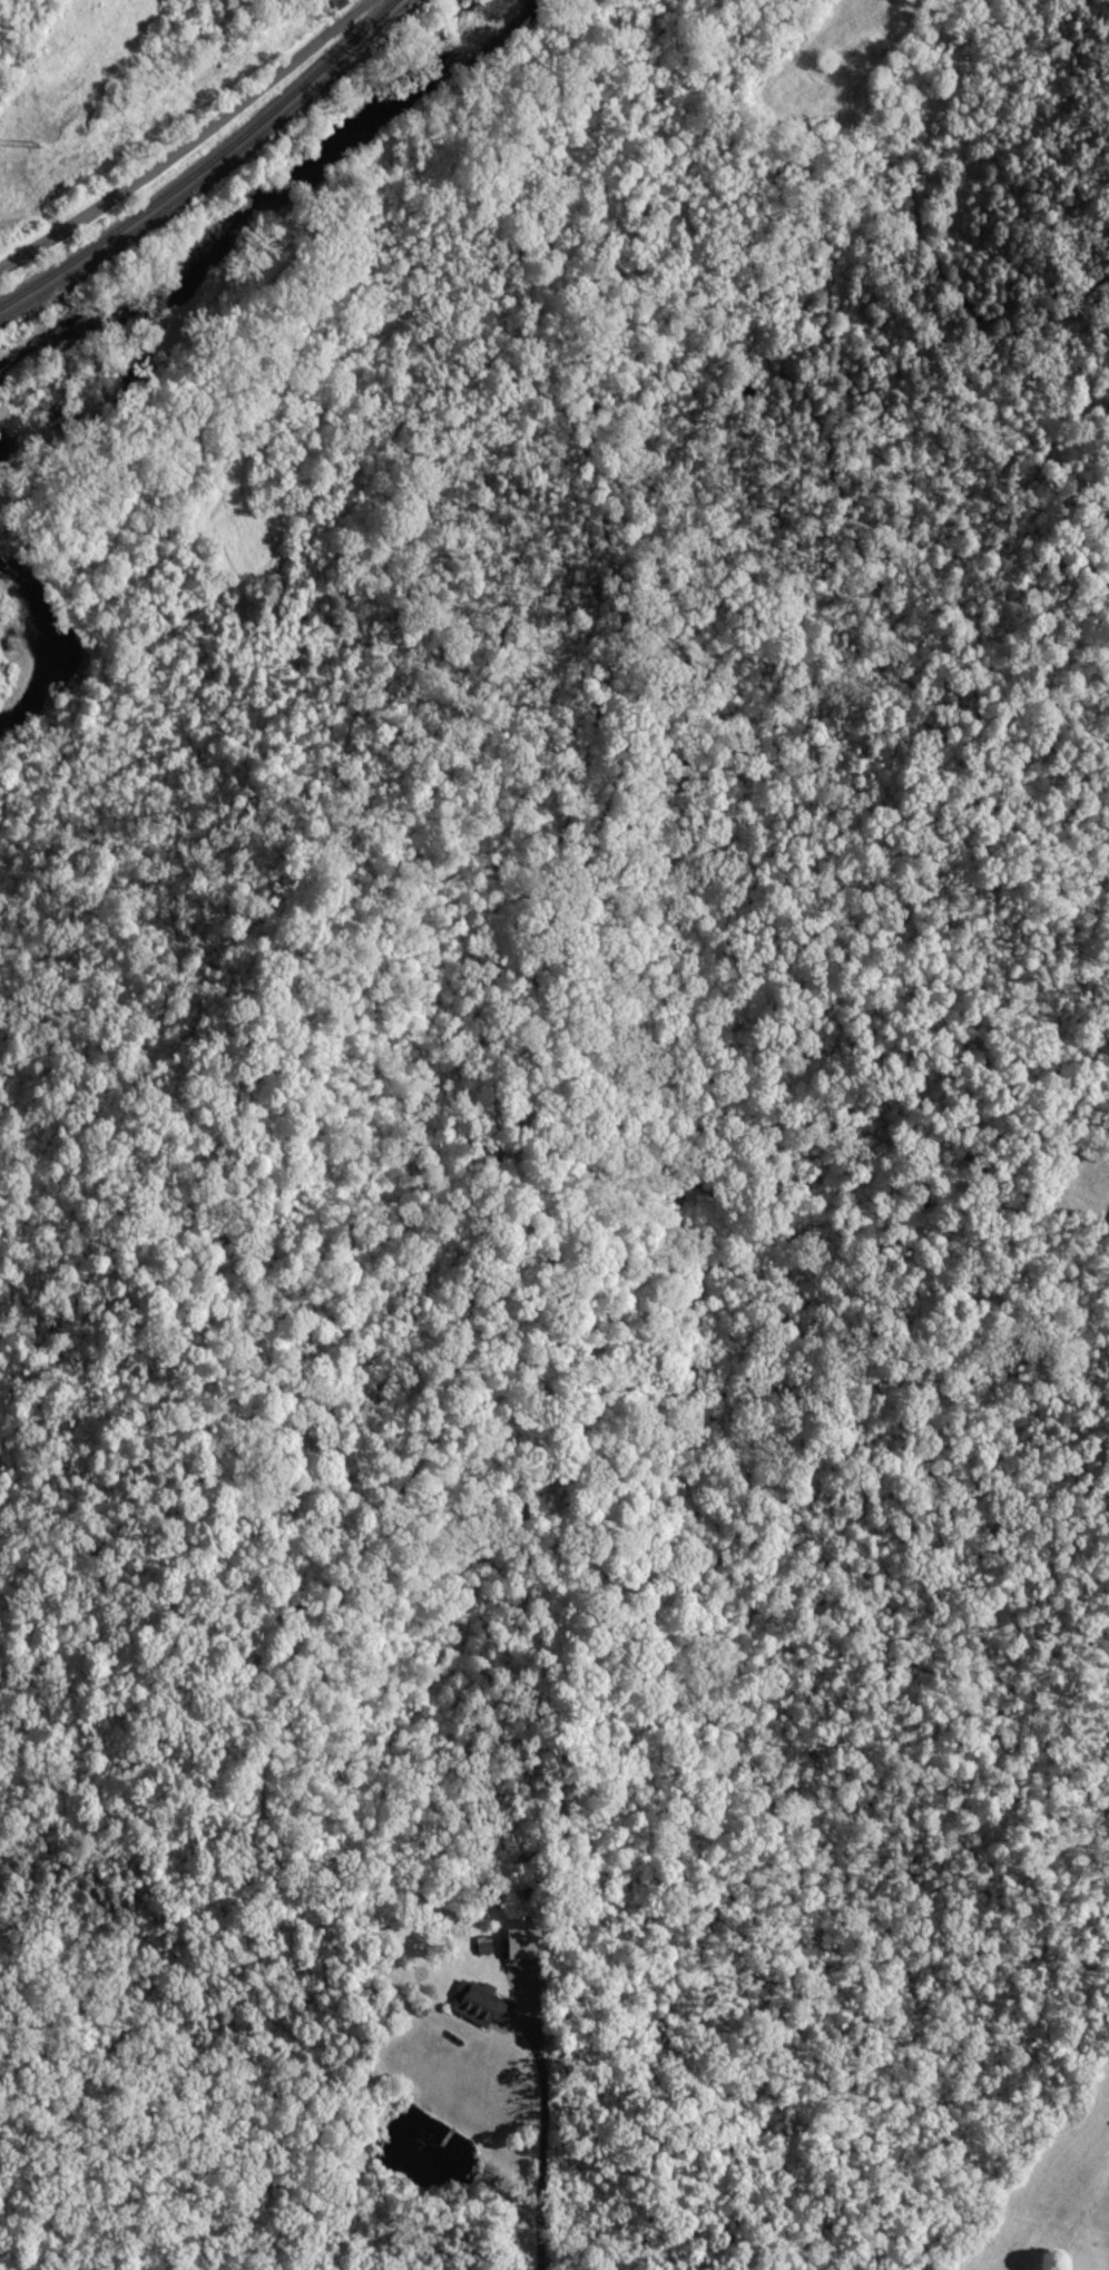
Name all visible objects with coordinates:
building: (336, 3)
road: (175, 134)
railway: (197, 158)
building: (513, 1944)
building: (480, 1945)
building: (477, 2006)
road: (563, 2135)

